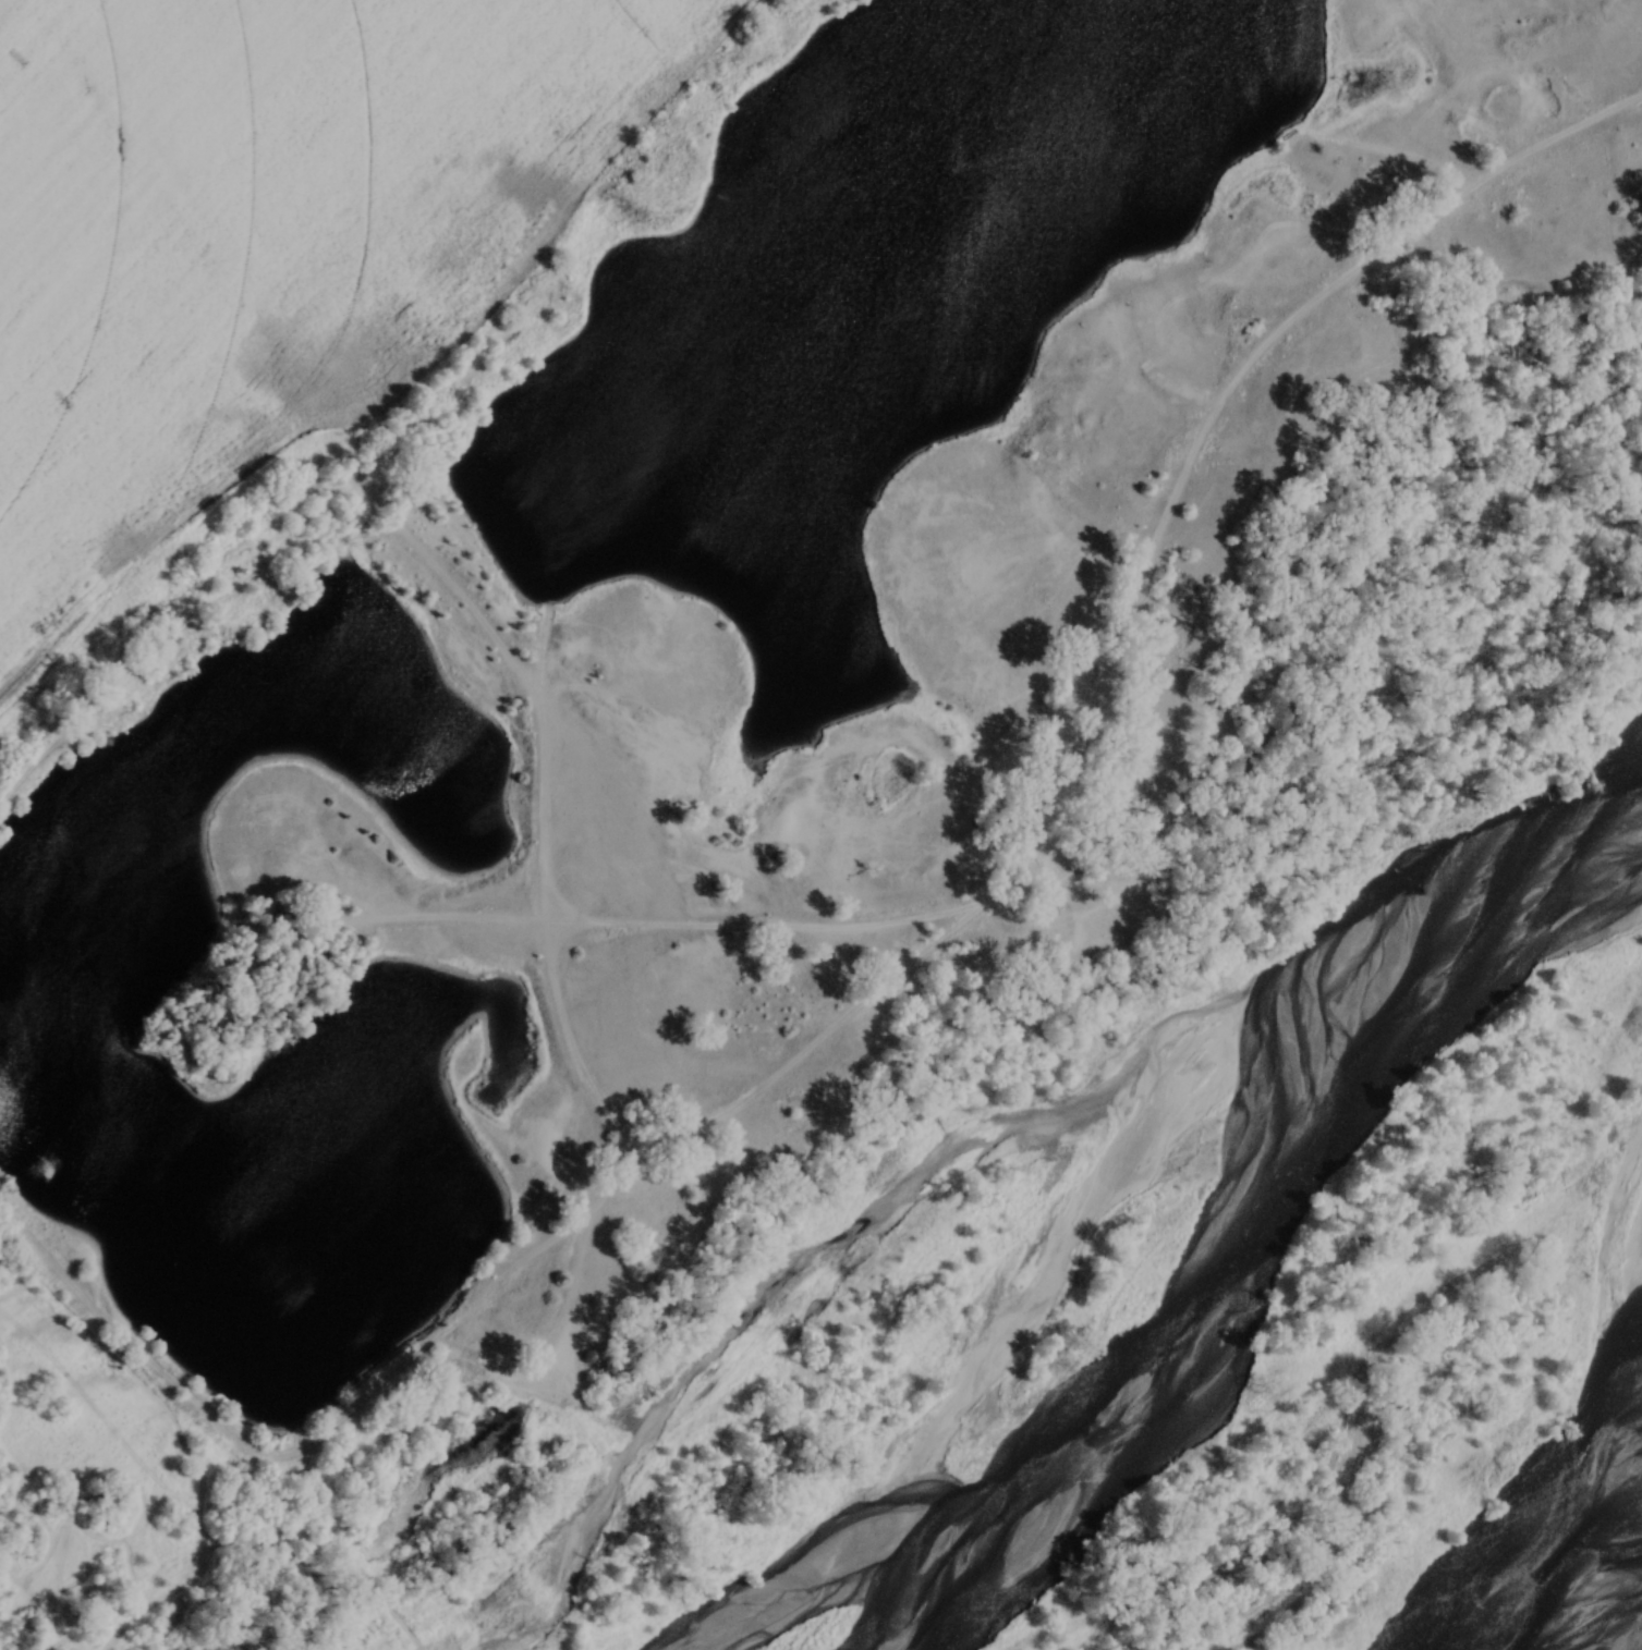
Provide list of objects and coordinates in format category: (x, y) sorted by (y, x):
road: (1214, 411)
road: (569, 1049)
river: (1630, 1640)

